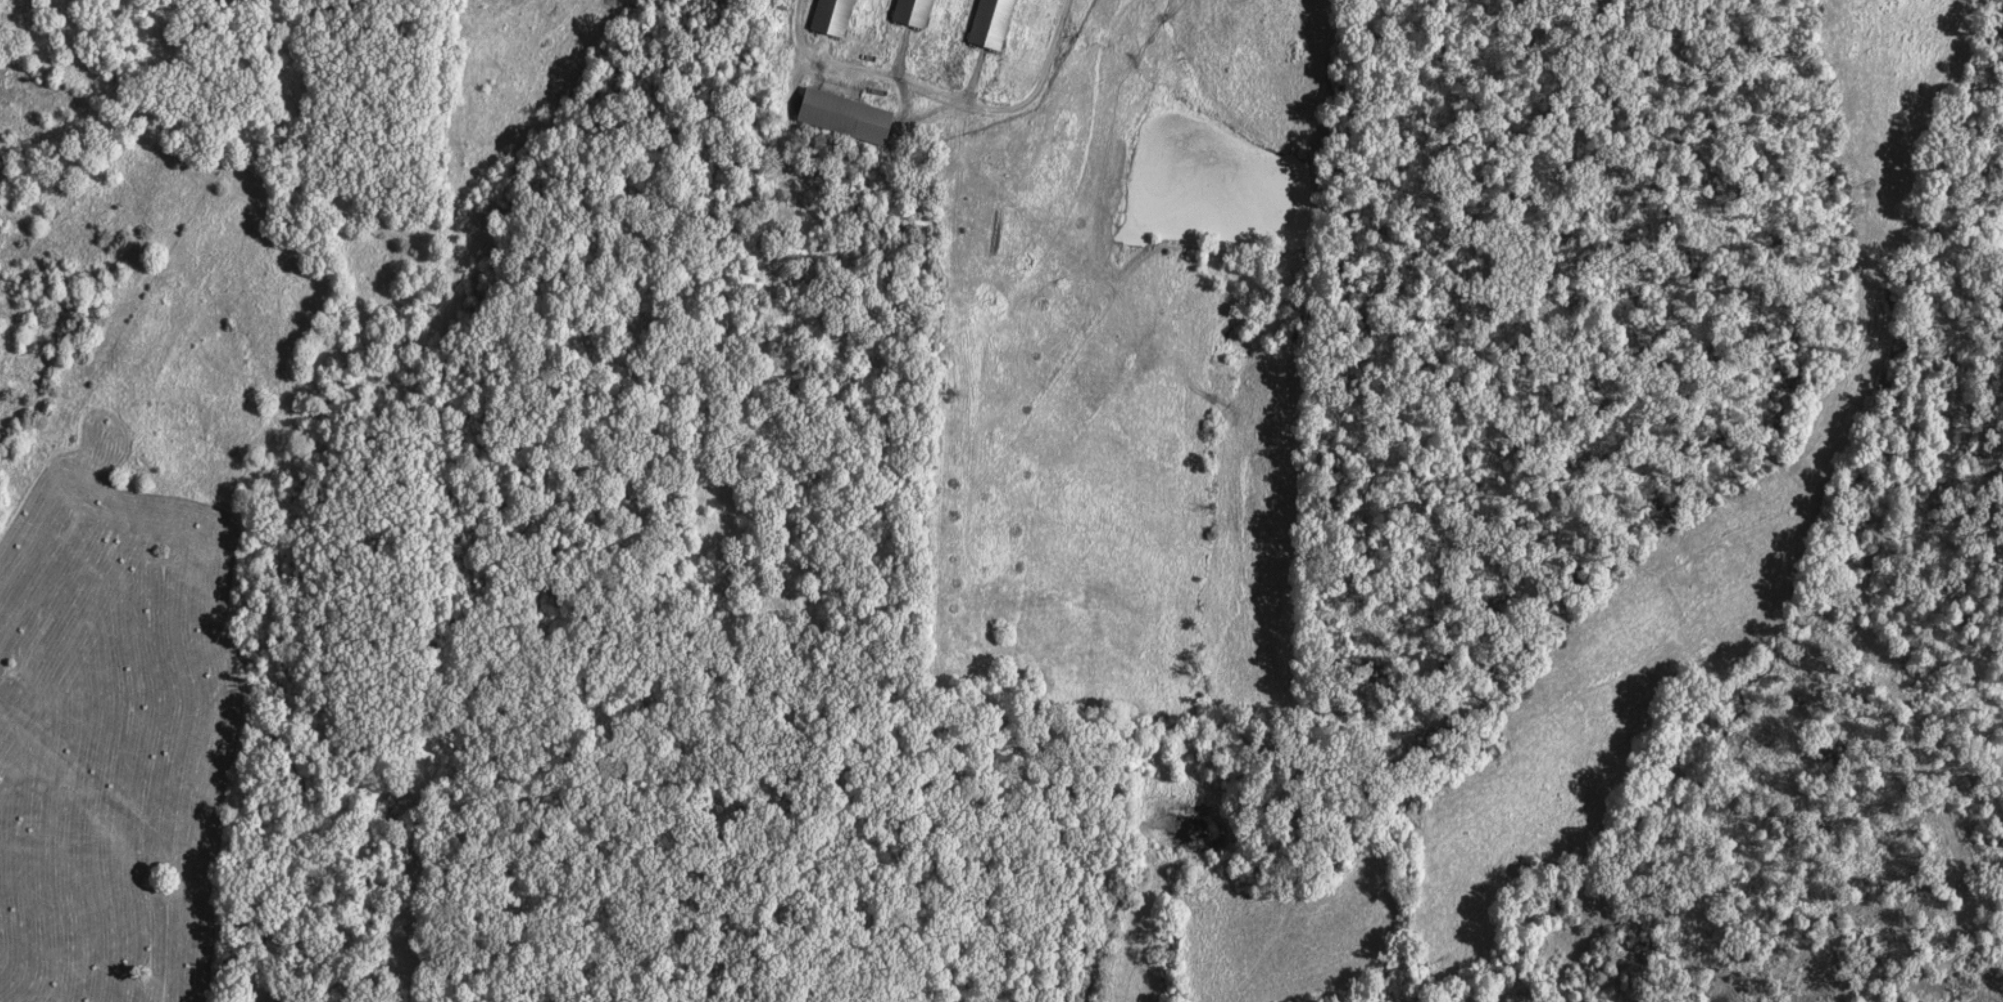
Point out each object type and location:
building: (913, 14)
building: (835, 18)
building: (992, 25)
building: (824, 112)

